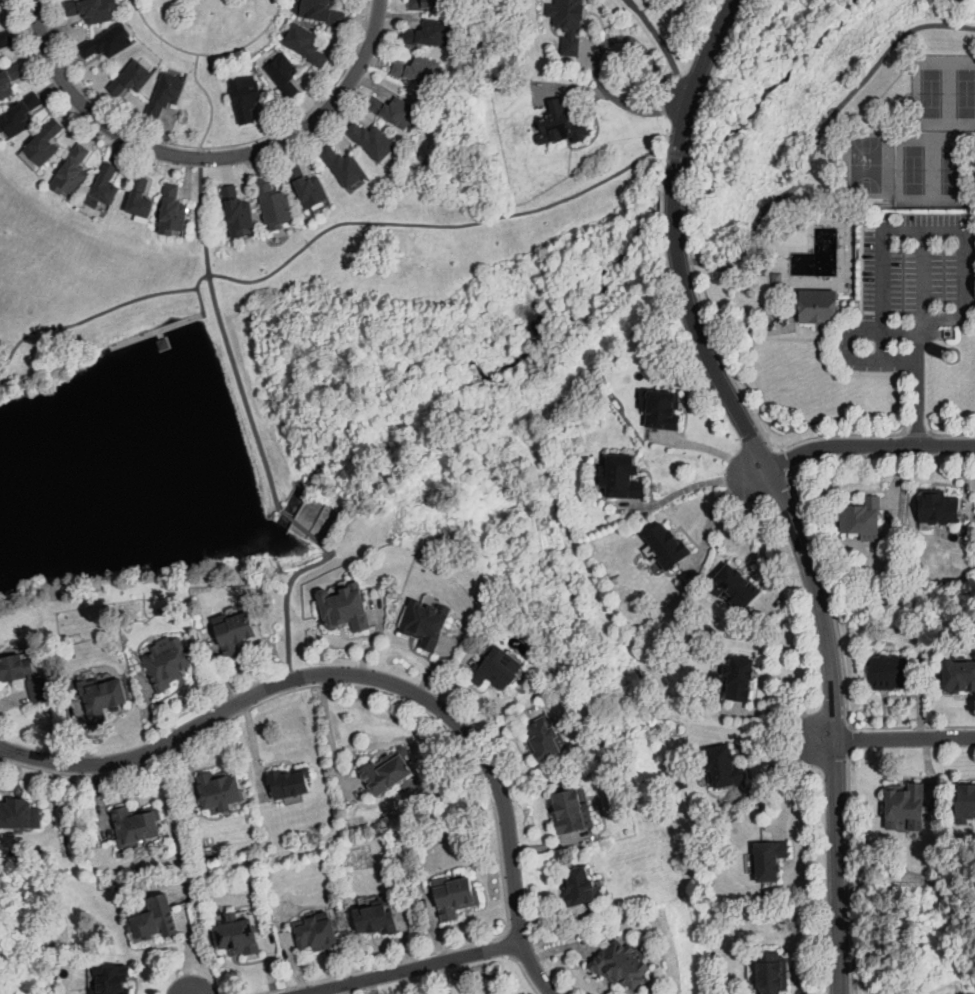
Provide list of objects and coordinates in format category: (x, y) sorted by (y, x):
building: (427, 4)
building: (93, 9)
building: (321, 11)
building: (567, 23)
building: (428, 32)
building: (6, 39)
building: (109, 42)
building: (306, 45)
road: (665, 46)
road: (206, 53)
road: (599, 53)
building: (0, 59)
building: (418, 70)
building: (285, 75)
road: (711, 76)
building: (132, 78)
building: (10, 80)
park: (932, 92)
park: (965, 92)
building: (166, 94)
building: (246, 98)
road: (208, 104)
building: (395, 111)
building: (20, 115)
building: (562, 122)
road: (820, 135)
building: (373, 141)
building: (43, 146)
road: (207, 146)
road: (204, 157)
park: (867, 163)
building: (344, 166)
park: (914, 168)
park: (952, 169)
building: (72, 171)
building: (107, 184)
building: (308, 187)
building: (141, 198)
building: (274, 204)
road: (688, 208)
building: (173, 211)
building: (238, 212)
road: (327, 228)
road: (922, 229)
road: (688, 260)
building: (819, 306)
road: (848, 336)
road: (226, 337)
road: (921, 337)
building: (163, 342)
building: (951, 354)
road: (727, 360)
building: (663, 410)
road: (740, 413)
road: (876, 434)
road: (708, 446)
road: (869, 446)
road: (756, 470)
building: (623, 477)
road: (689, 486)
building: (939, 508)
road: (714, 511)
building: (862, 517)
road: (305, 528)
dam: (295, 530)
road: (763, 533)
building: (667, 546)
road: (829, 585)
building: (737, 586)
road: (288, 607)
building: (345, 608)
building: (426, 623)
building: (237, 632)
building: (172, 663)
building: (497, 665)
building: (16, 667)
building: (890, 672)
building: (959, 676)
road: (371, 677)
building: (739, 677)
road: (364, 686)
building: (39, 690)
building: (103, 697)
road: (780, 706)
road: (329, 729)
road: (916, 729)
building: (545, 738)
road: (821, 738)
road: (905, 739)
road: (772, 765)
building: (723, 767)
building: (388, 769)
building: (290, 782)
road: (796, 788)
building: (221, 791)
building: (906, 801)
building: (966, 801)
building: (572, 811)
building: (19, 814)
building: (137, 826)
road: (852, 857)
building: (770, 860)
building: (582, 886)
building: (455, 896)
road: (837, 913)
building: (377, 918)
building: (154, 919)
building: (315, 932)
building: (239, 935)
road: (381, 963)
building: (622, 964)
road: (412, 967)
building: (772, 972)
road: (444, 977)
building: (113, 979)
building: (914, 985)

